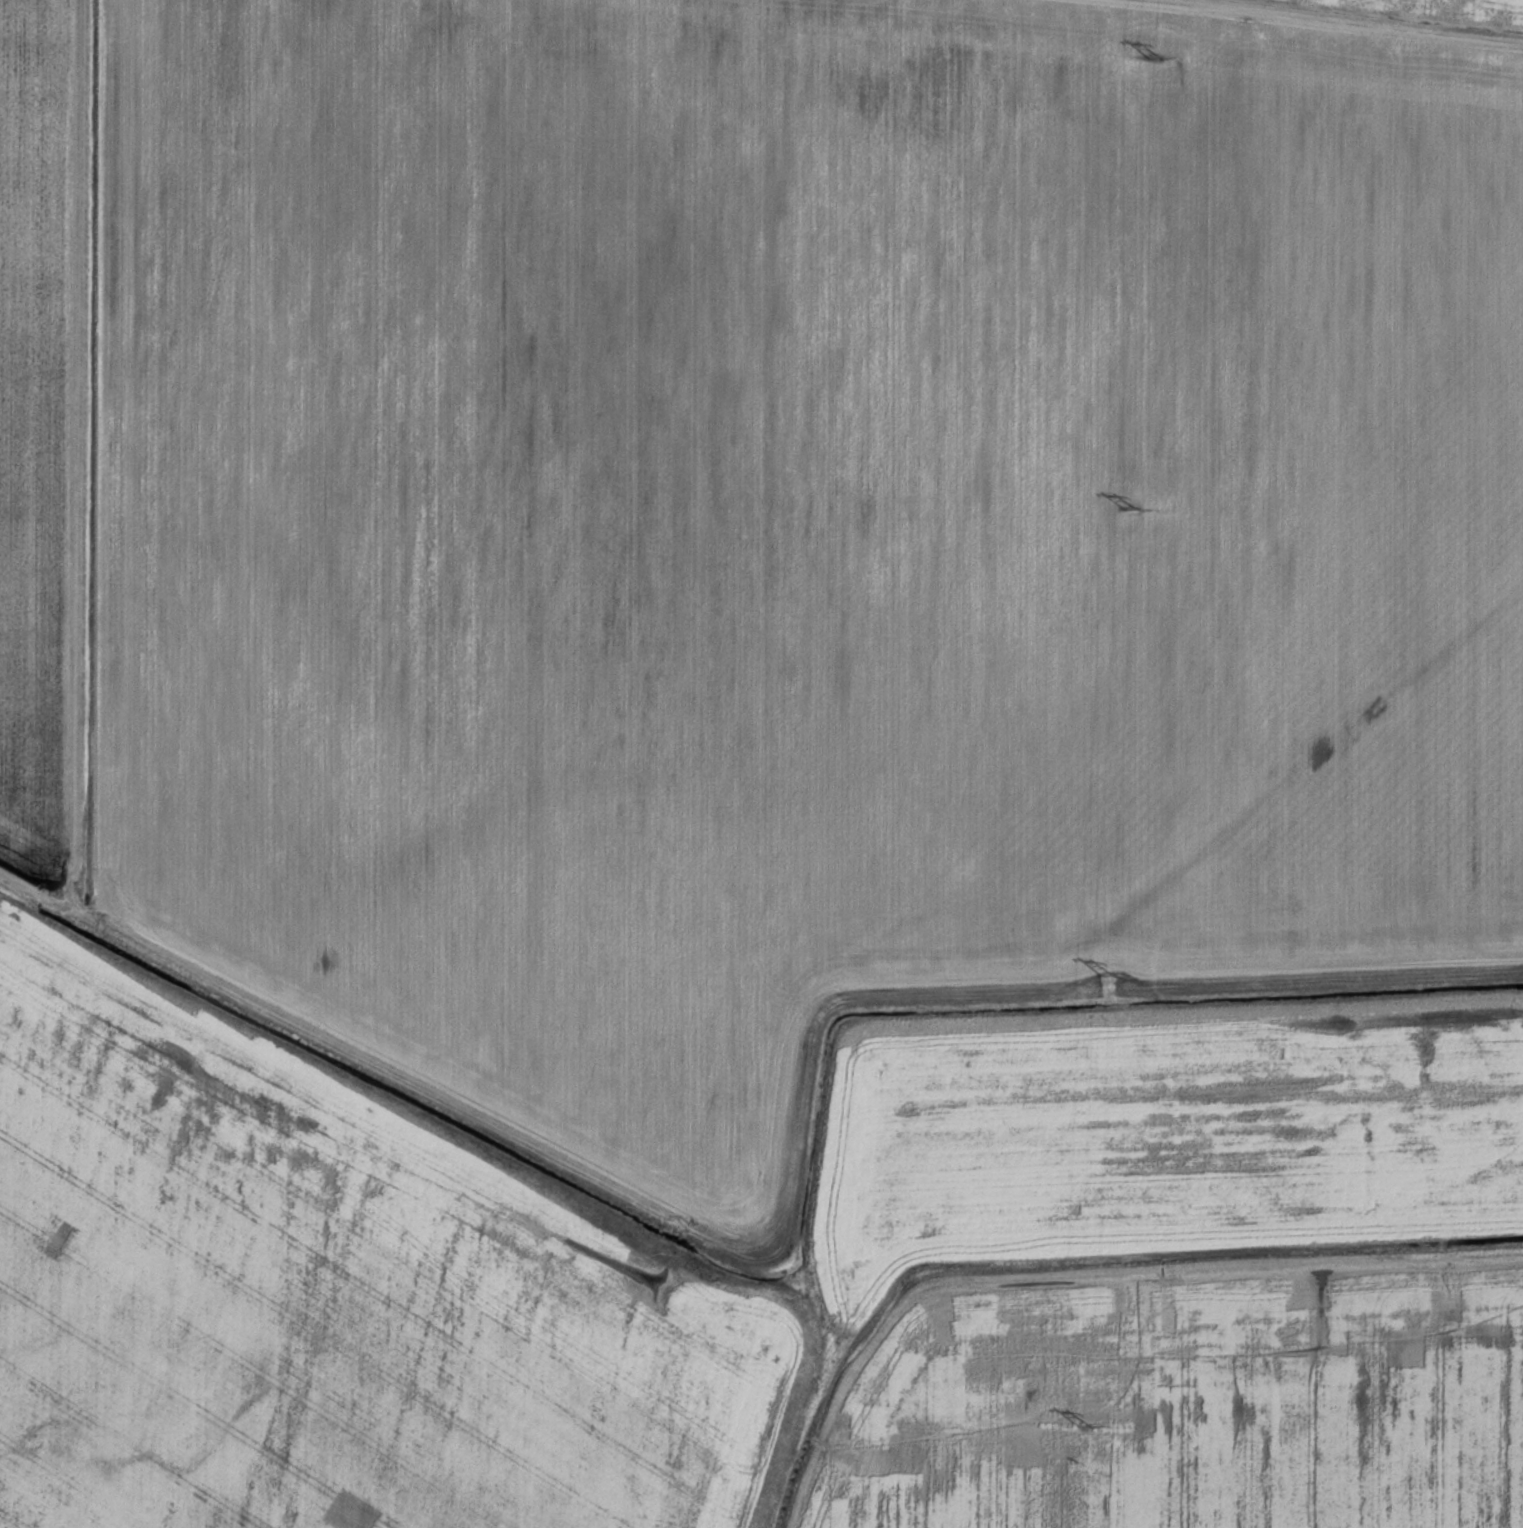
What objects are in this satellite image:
power tower: (1158, 60)
power tower: (1134, 509)
power tower: (1110, 973)
power tower: (1089, 1425)

